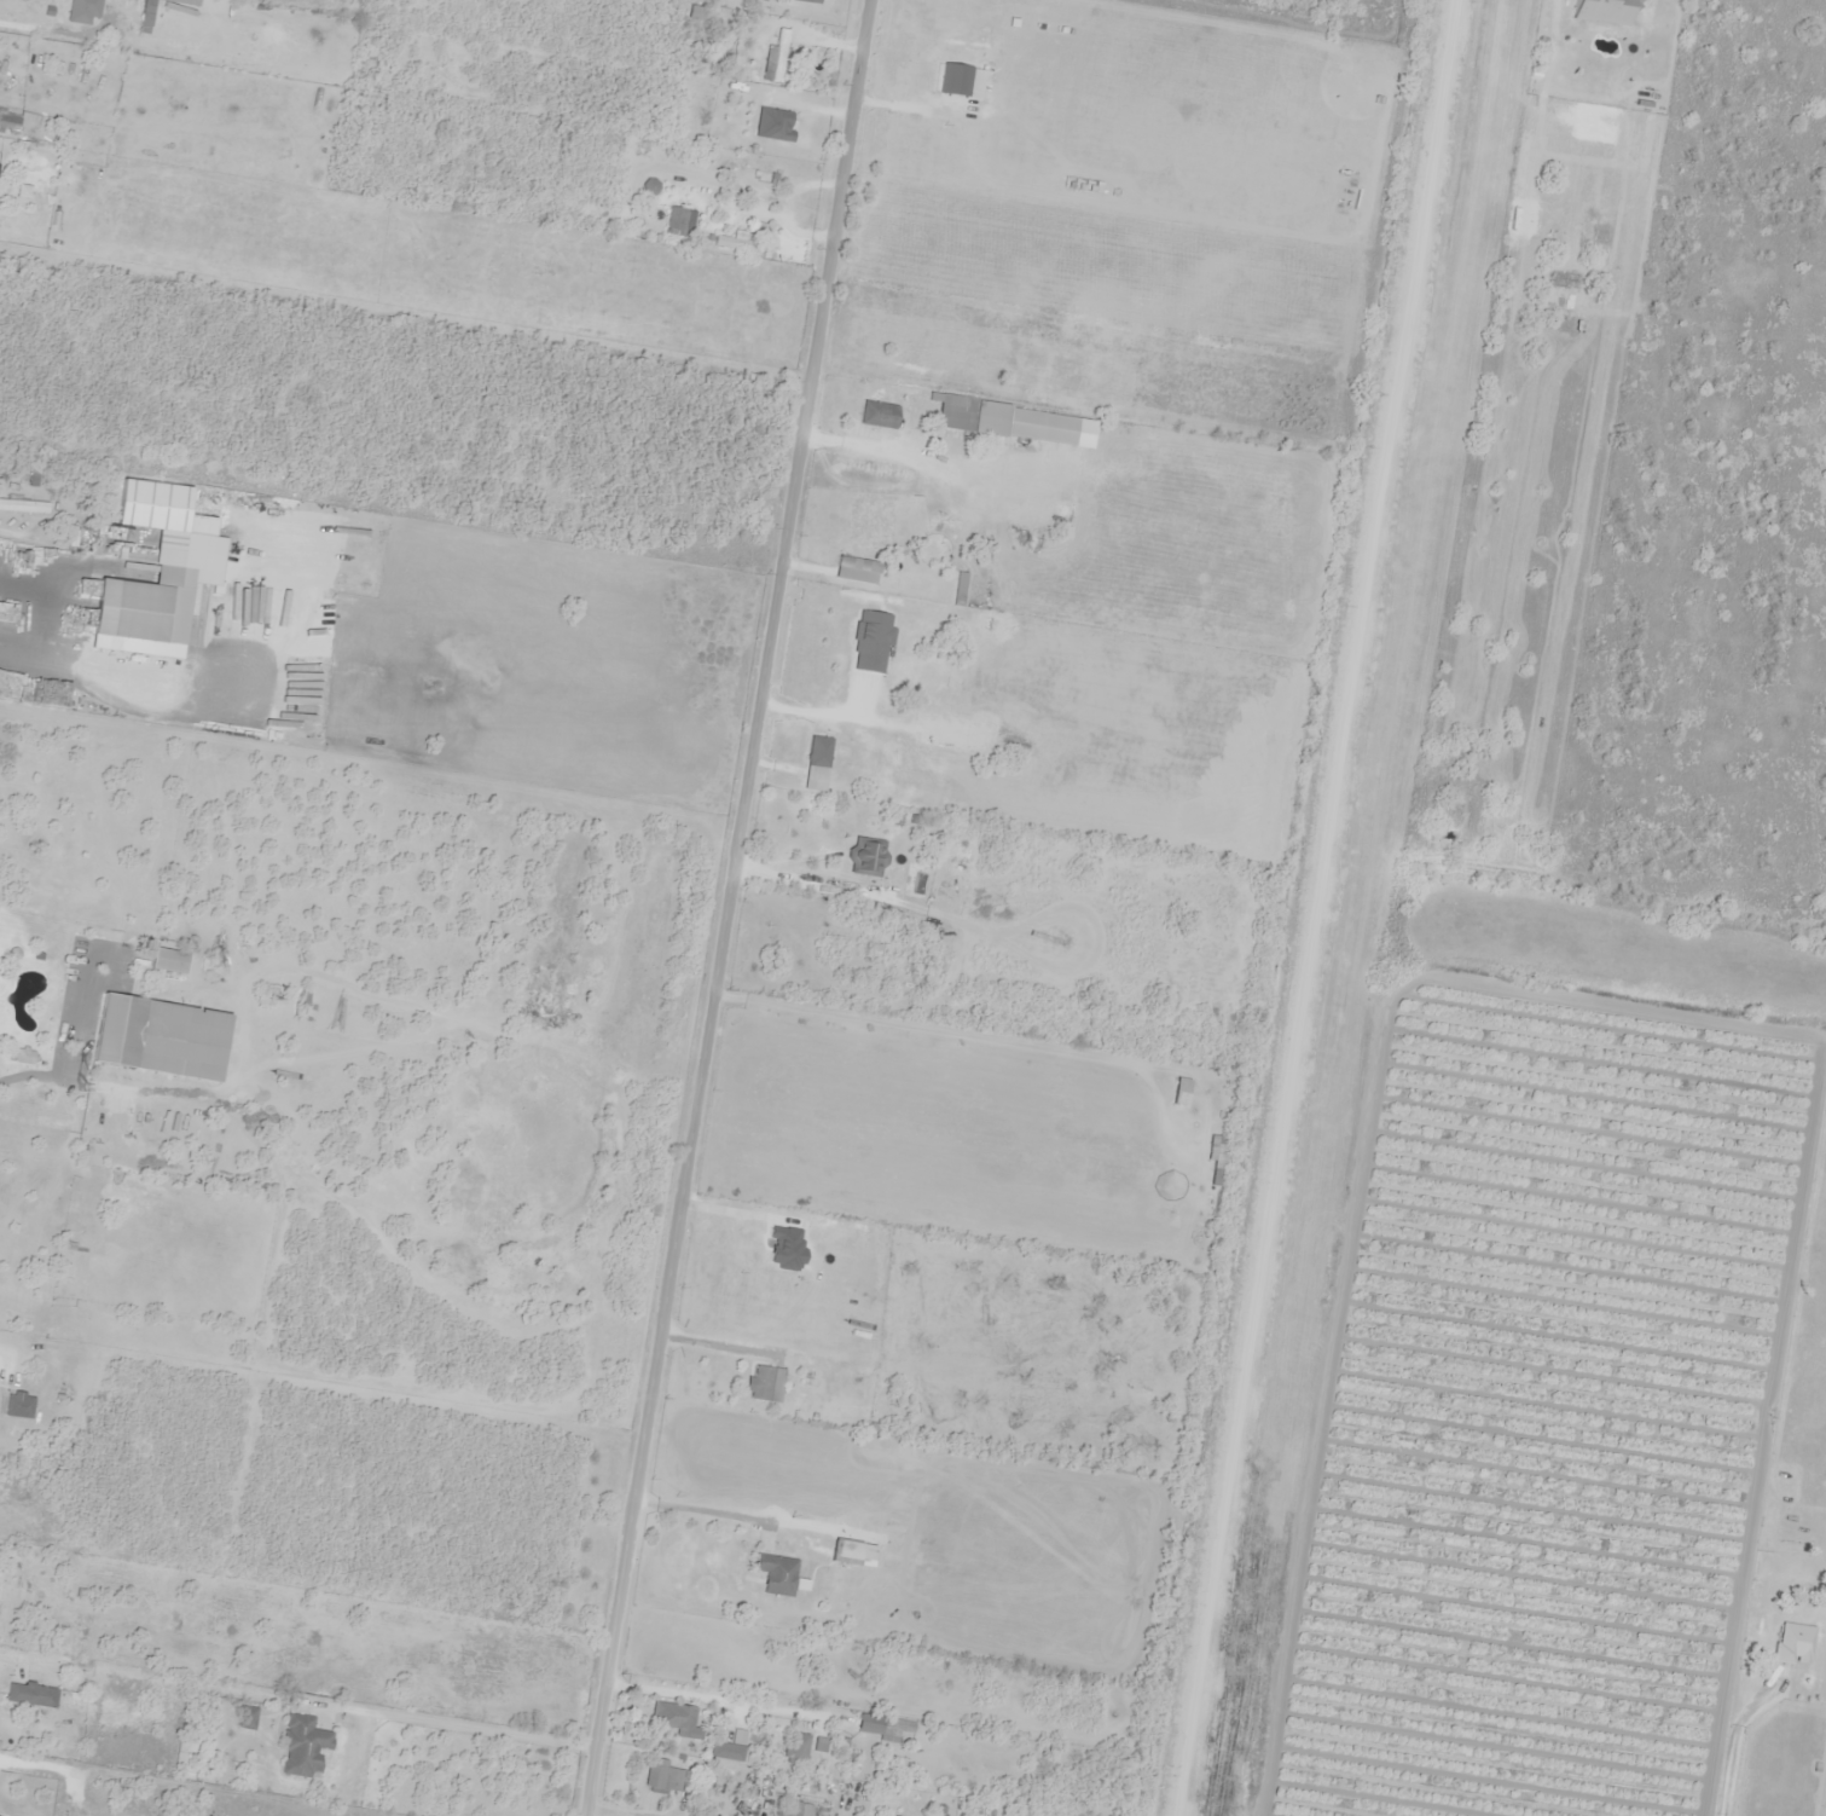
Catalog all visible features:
building: (189, 1)
building: (807, 1)
building: (150, 10)
building: (1584, 10)
building: (81, 11)
building: (772, 59)
building: (10, 120)
building: (776, 125)
building: (674, 220)
building: (734, 243)
building: (1560, 279)
building: (877, 415)
building: (970, 415)
building: (24, 505)
building: (854, 569)
building: (147, 607)
building: (131, 677)
building: (816, 760)
building: (864, 857)
road: (729, 907)
railway: (1418, 908)
building: (166, 961)
building: (155, 1037)
building: (765, 1384)
building: (21, 1404)
building: (844, 1552)
building: (773, 1573)
building: (1792, 1643)
building: (33, 1694)
building: (244, 1718)
building: (669, 1719)
building: (881, 1725)
building: (300, 1745)
building: (729, 1747)
building: (794, 1748)
building: (666, 1779)
building: (796, 1805)

